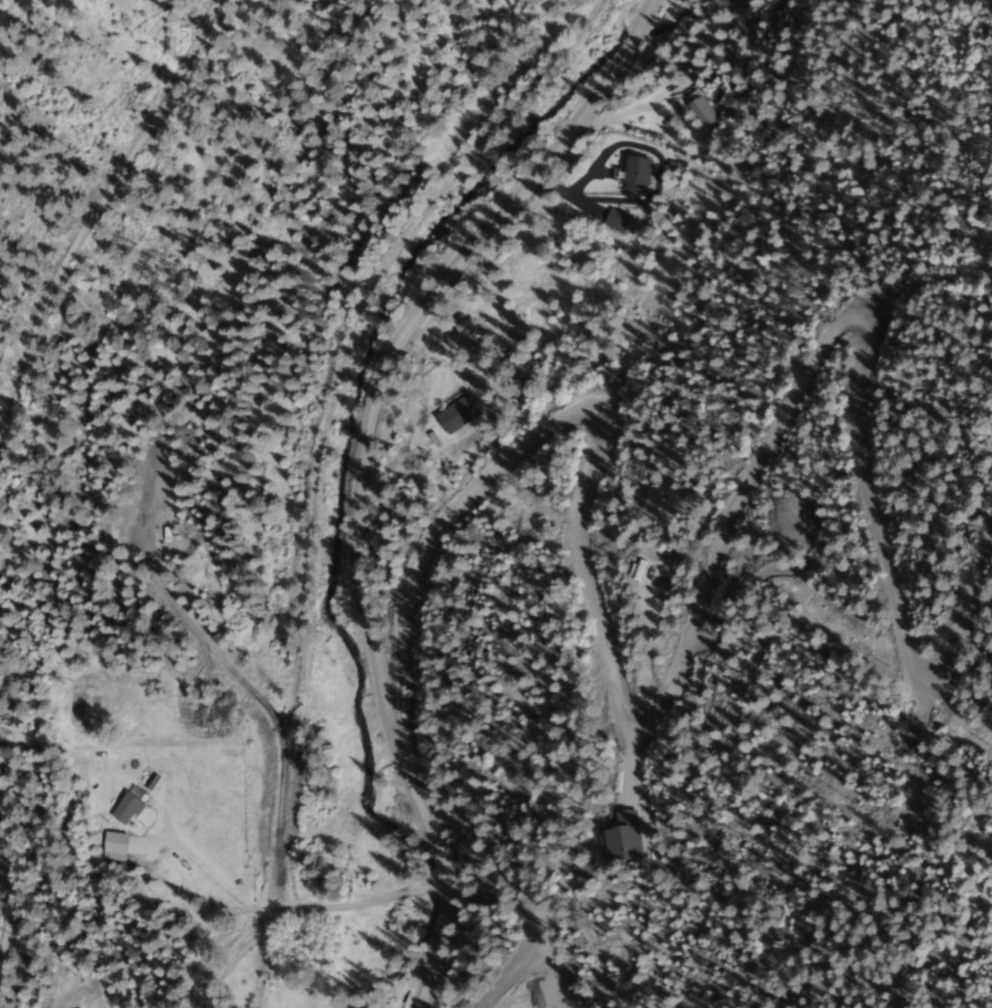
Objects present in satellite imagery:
building: (698, 111)
building: (633, 175)
road: (91, 208)
building: (613, 221)
building: (453, 415)
road: (366, 469)
road: (697, 622)
building: (123, 807)
building: (619, 837)
road: (281, 907)
building: (23, 1004)

